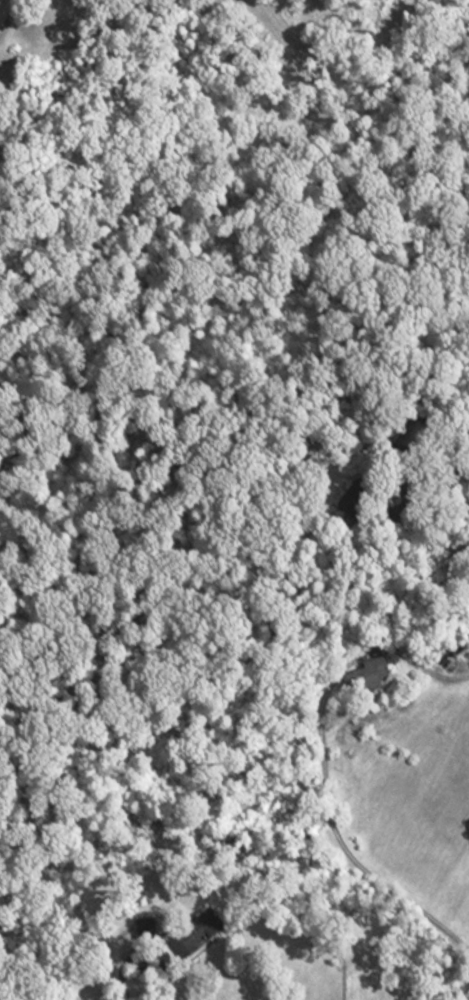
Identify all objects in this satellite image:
road: (10, 17)
road: (449, 494)
building: (465, 663)
building: (368, 680)
road: (323, 768)
building: (146, 934)
building: (199, 935)
road: (148, 950)

